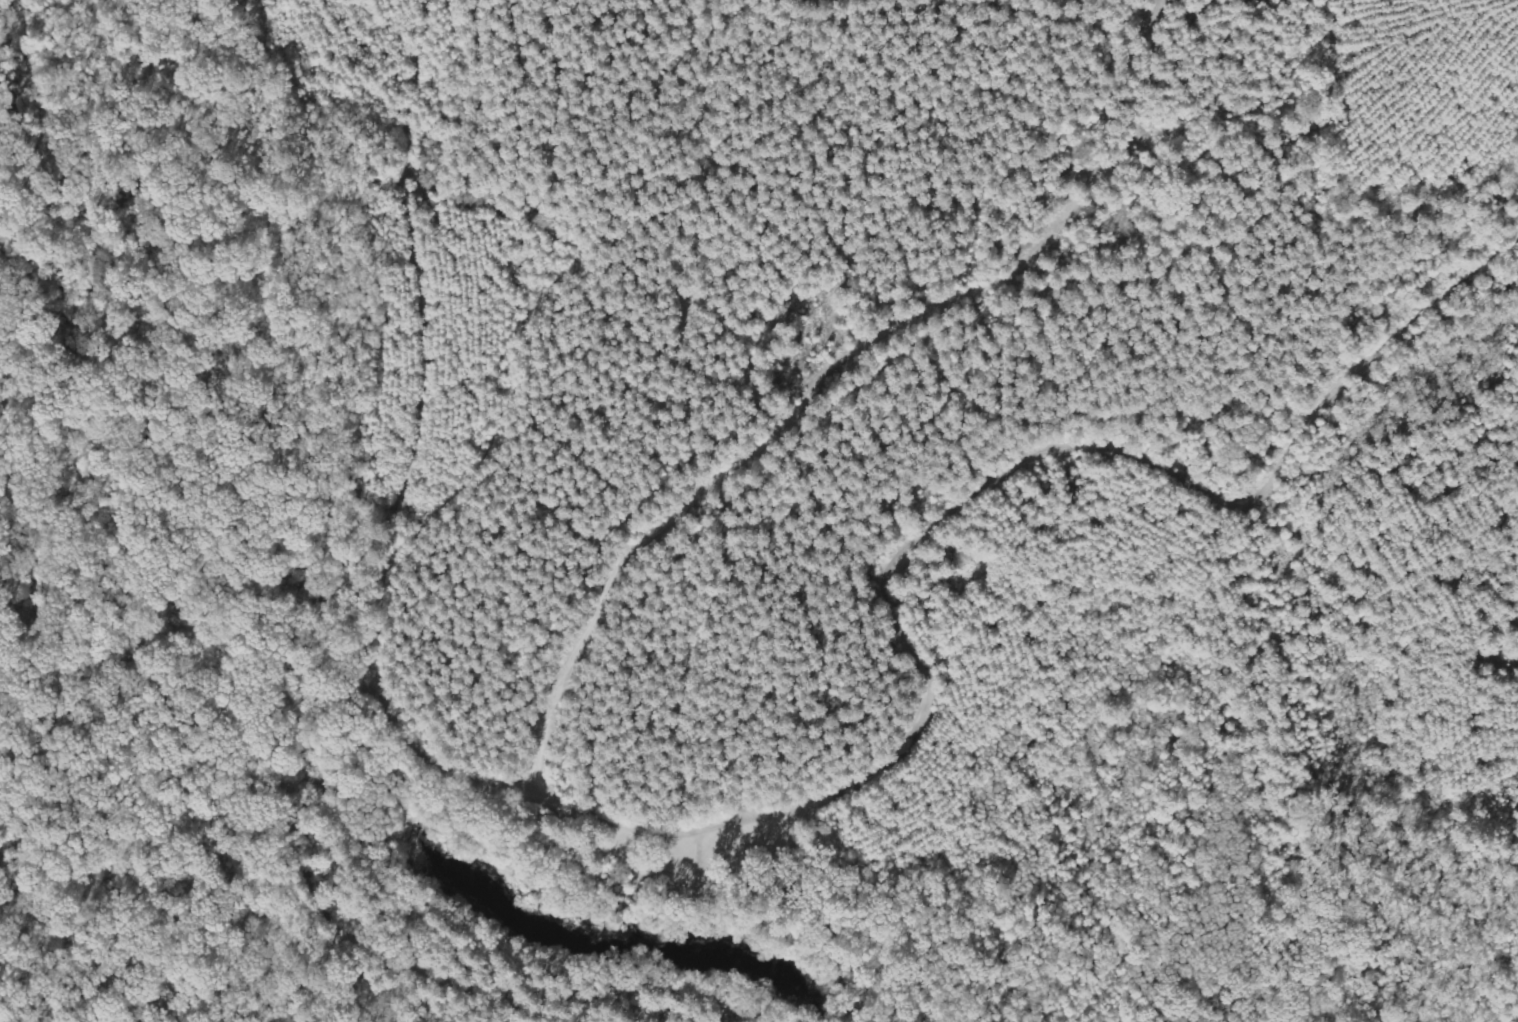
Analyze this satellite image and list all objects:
road: (276, 862)
road: (188, 978)

